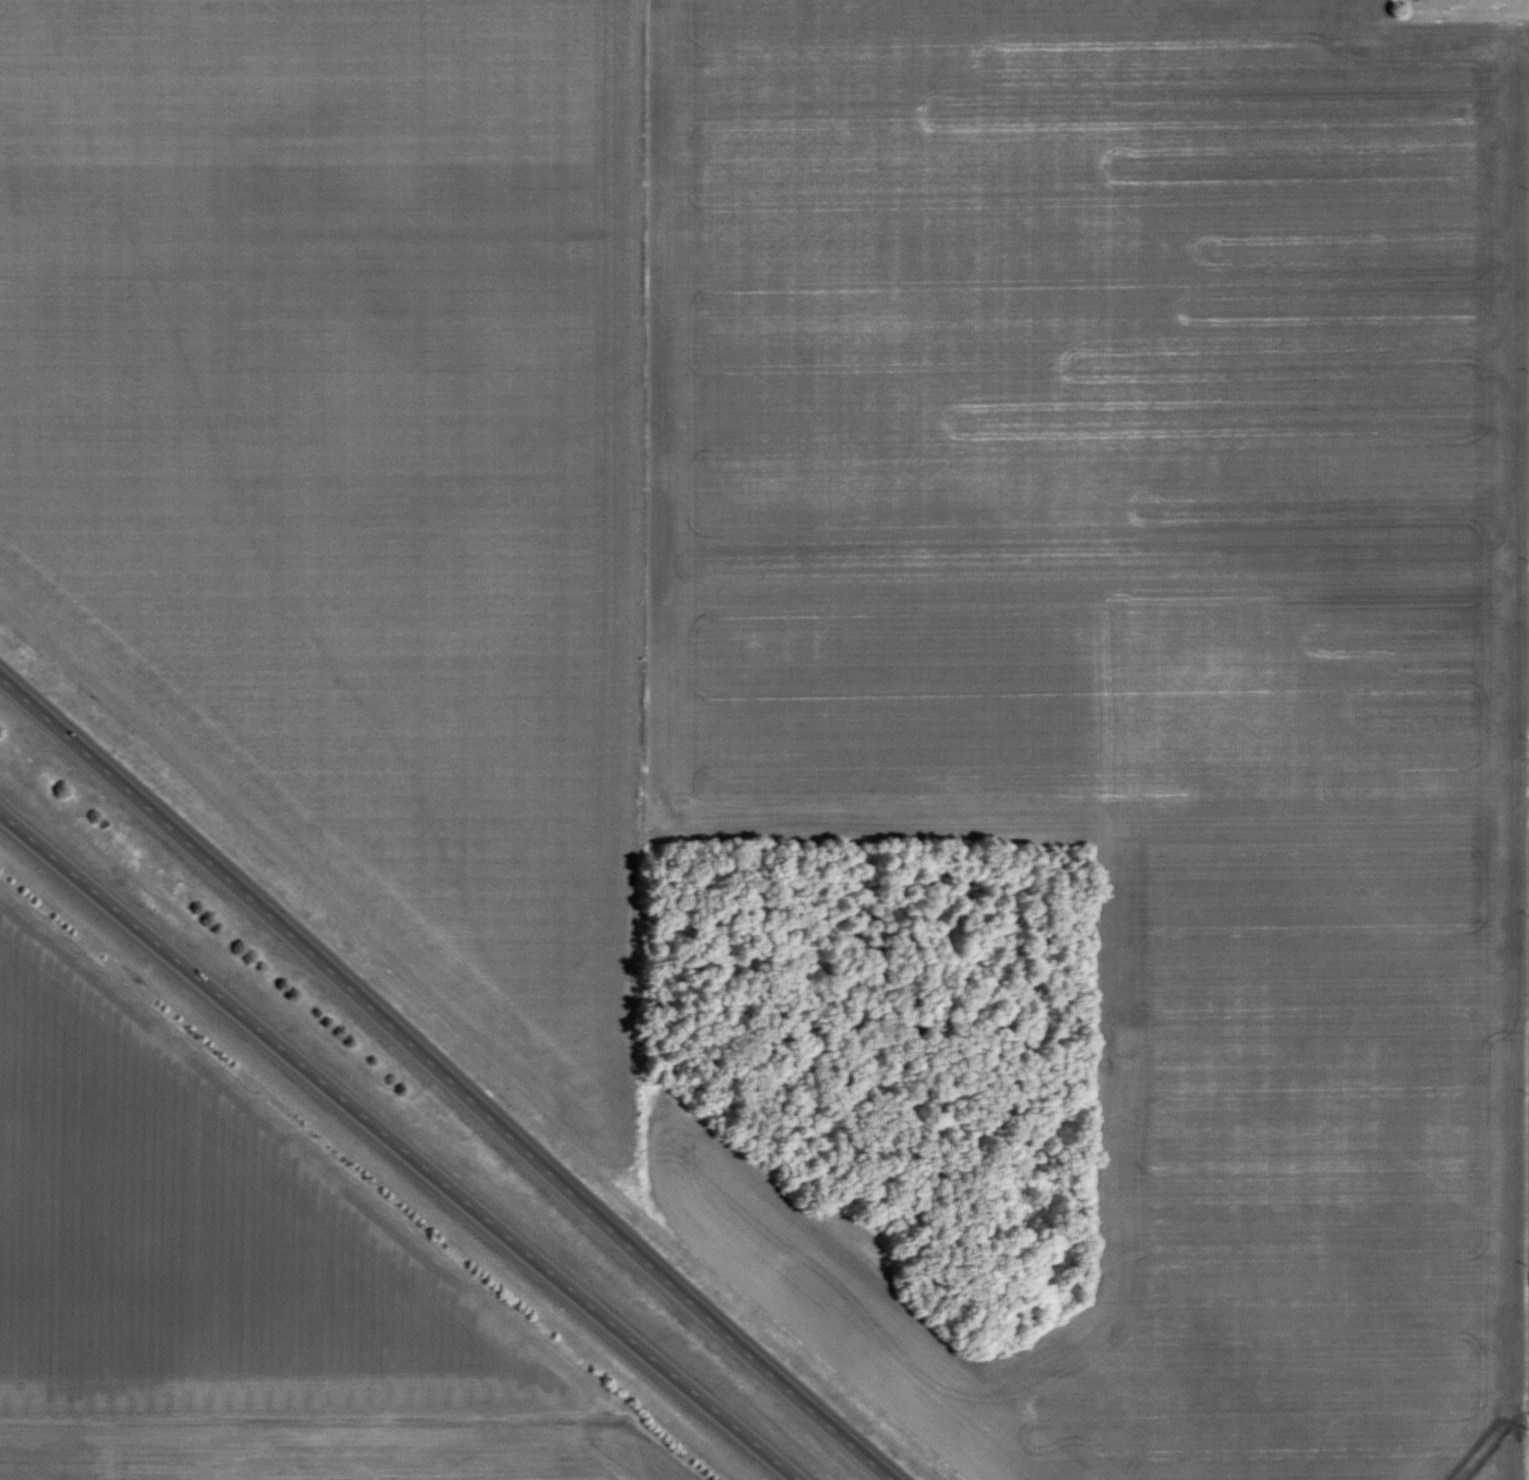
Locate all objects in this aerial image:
road: (450, 1075)
road: (396, 1149)

